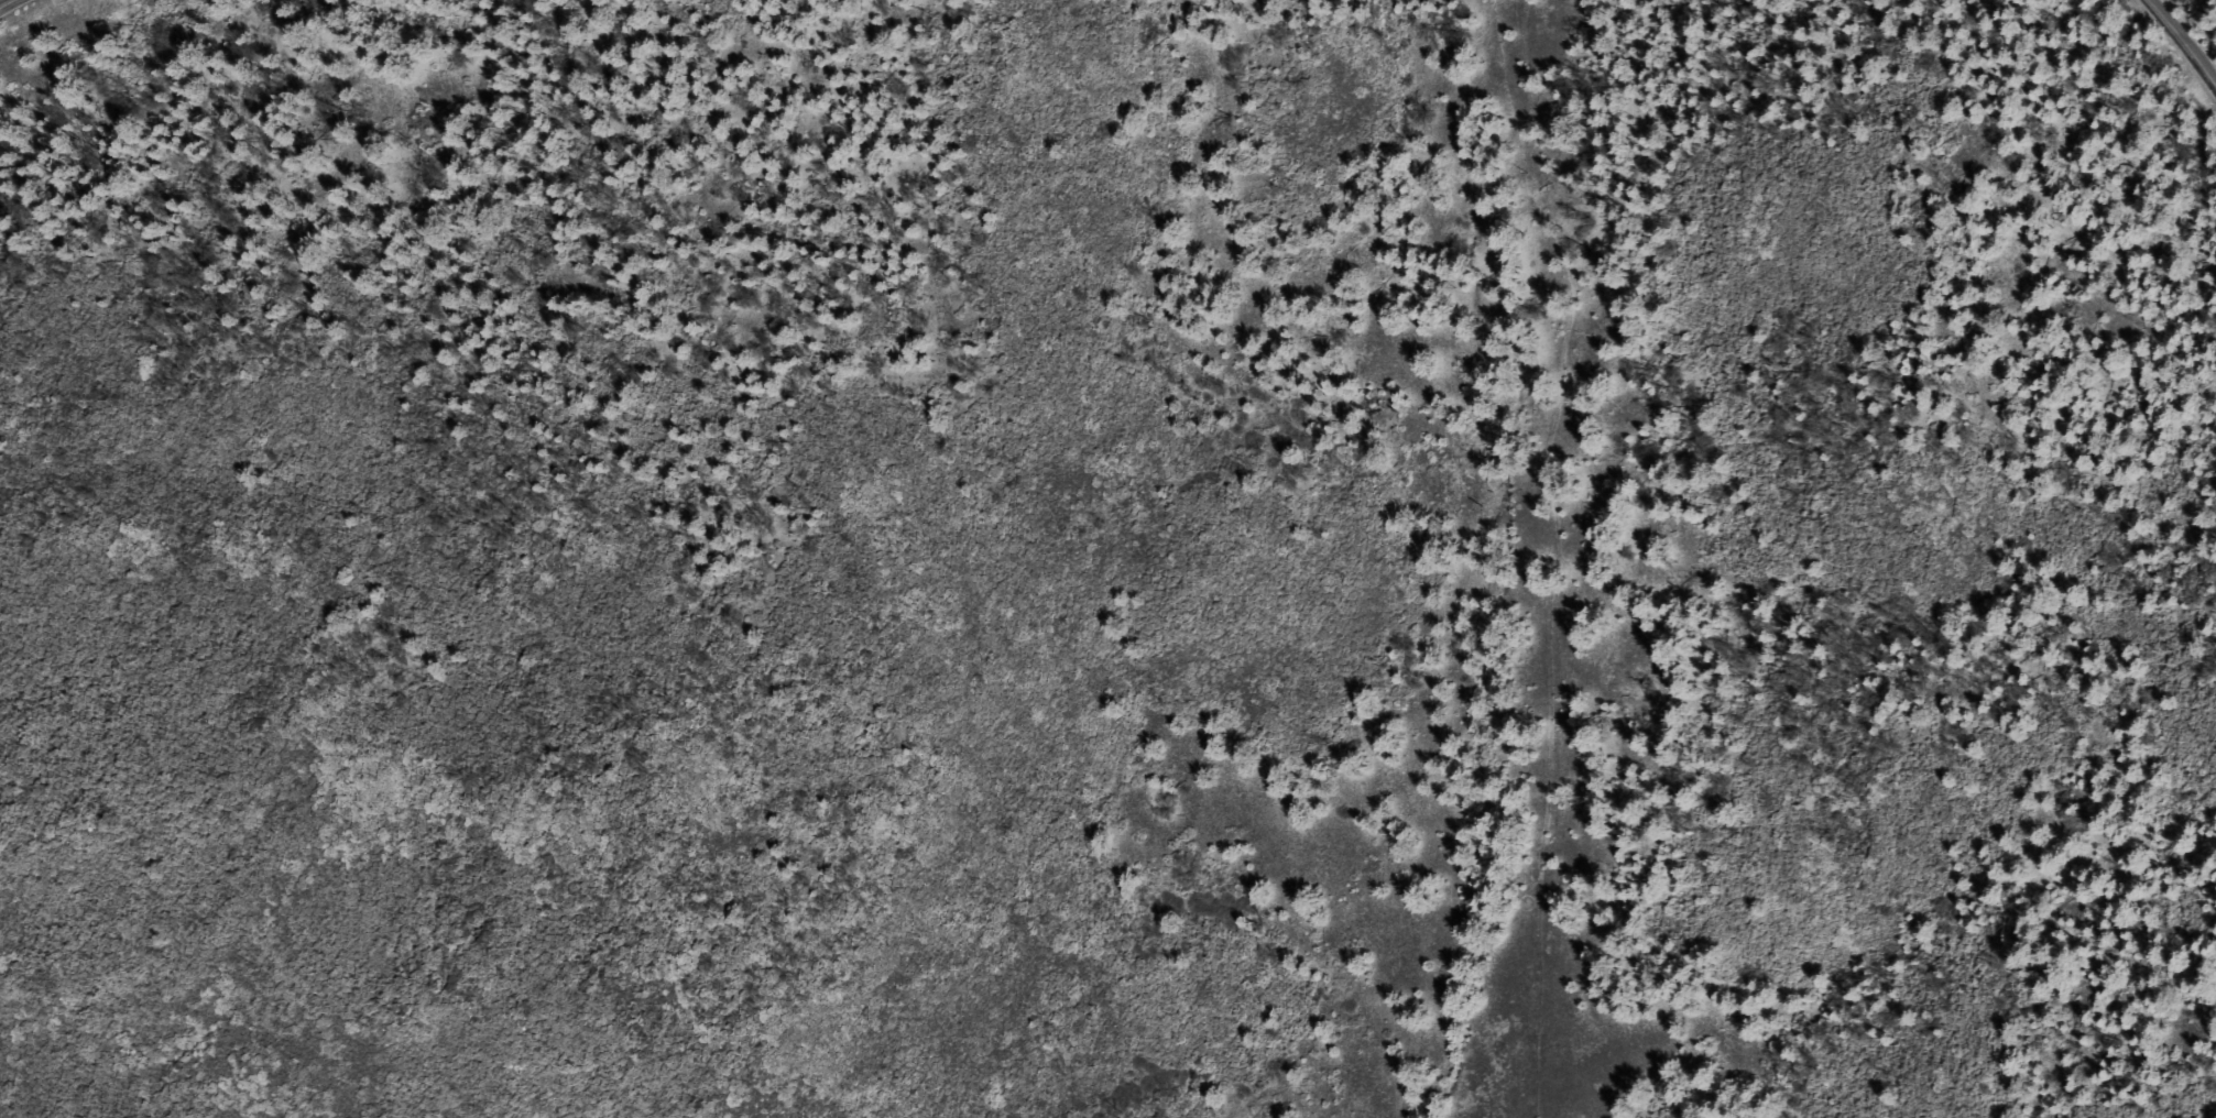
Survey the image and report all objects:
road: (11, 4)
road: (2183, 40)

